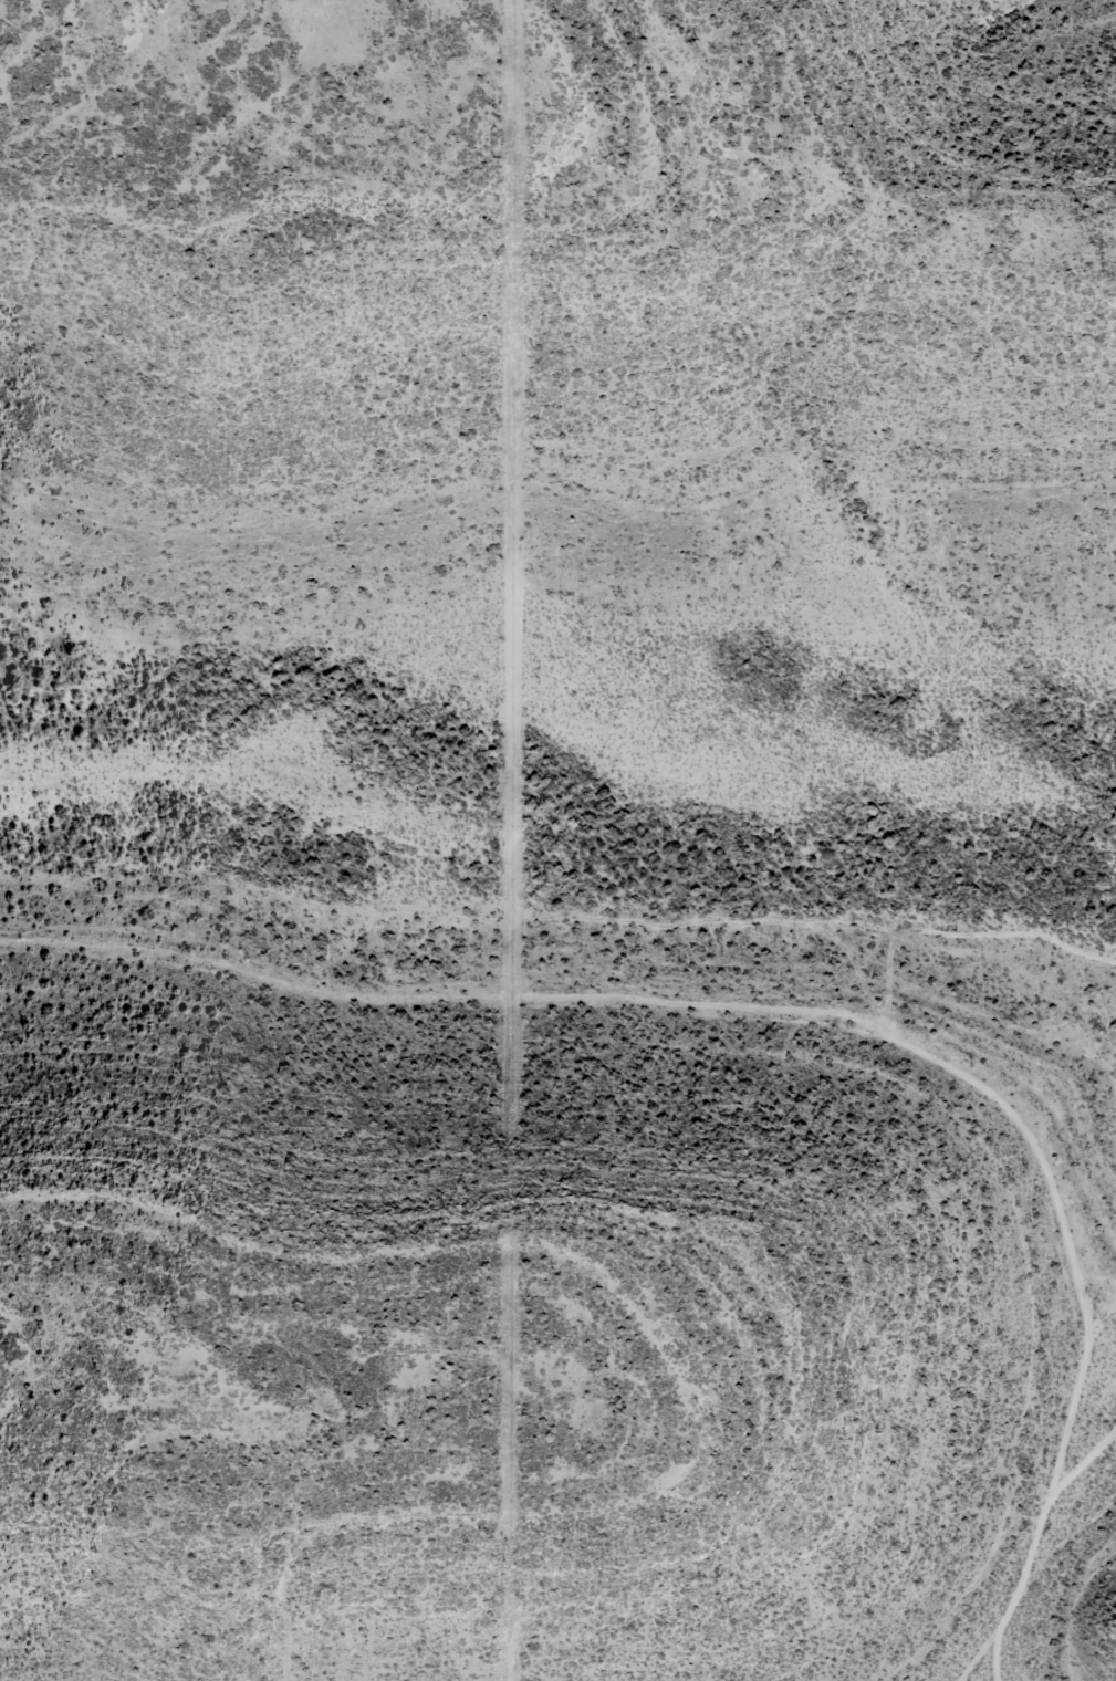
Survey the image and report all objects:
road: (1012, 1472)

